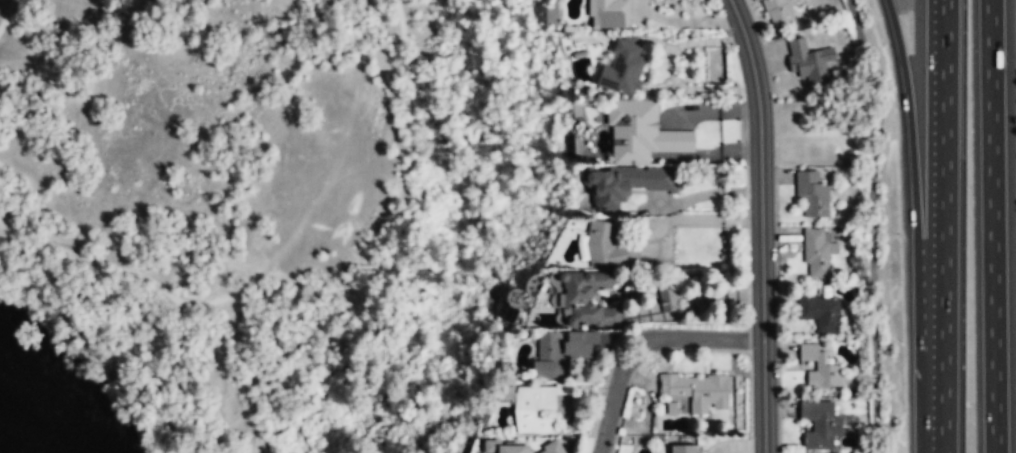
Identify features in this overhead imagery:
building: (778, 13)
road: (7, 14)
building: (609, 14)
road: (400, 20)
building: (806, 62)
building: (623, 69)
building: (641, 132)
road: (339, 161)
building: (628, 183)
building: (812, 193)
park: (280, 208)
road: (761, 224)
road: (916, 225)
road: (943, 226)
road: (993, 226)
building: (608, 246)
building: (817, 251)
road: (127, 269)
building: (668, 297)
building: (589, 299)
building: (820, 312)
road: (642, 341)
building: (561, 352)
building: (820, 366)
building: (696, 390)
building: (537, 407)
building: (670, 408)
building: (819, 424)
building: (503, 448)
building: (553, 449)
building: (685, 449)
river: (3, 450)

